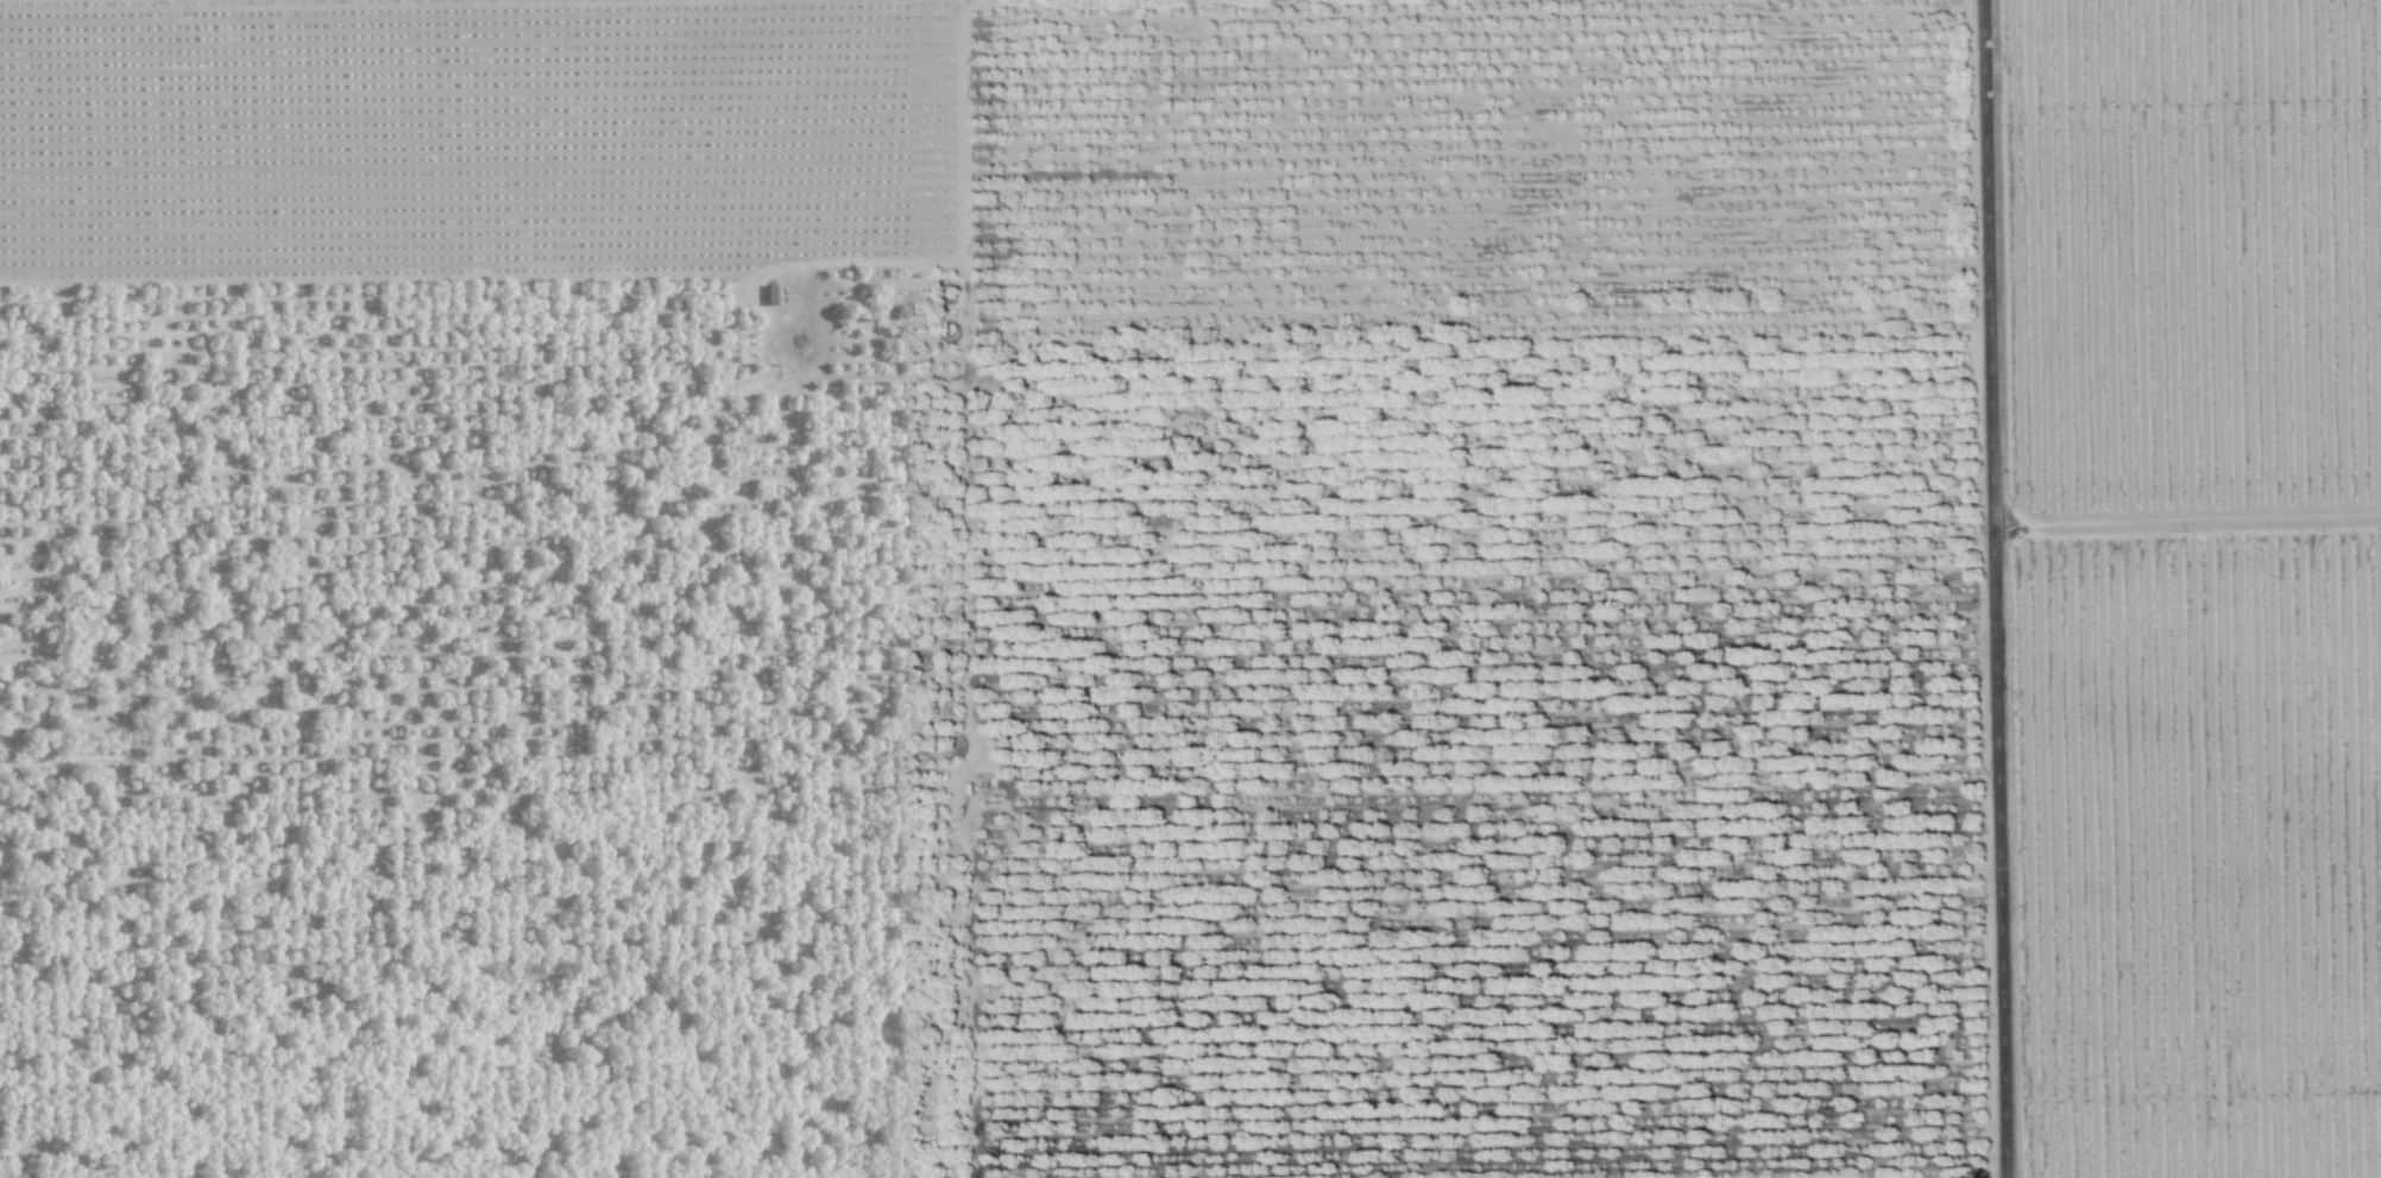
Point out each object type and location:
road: (959, 202)
road: (761, 307)
road: (2187, 524)
road: (1995, 588)

